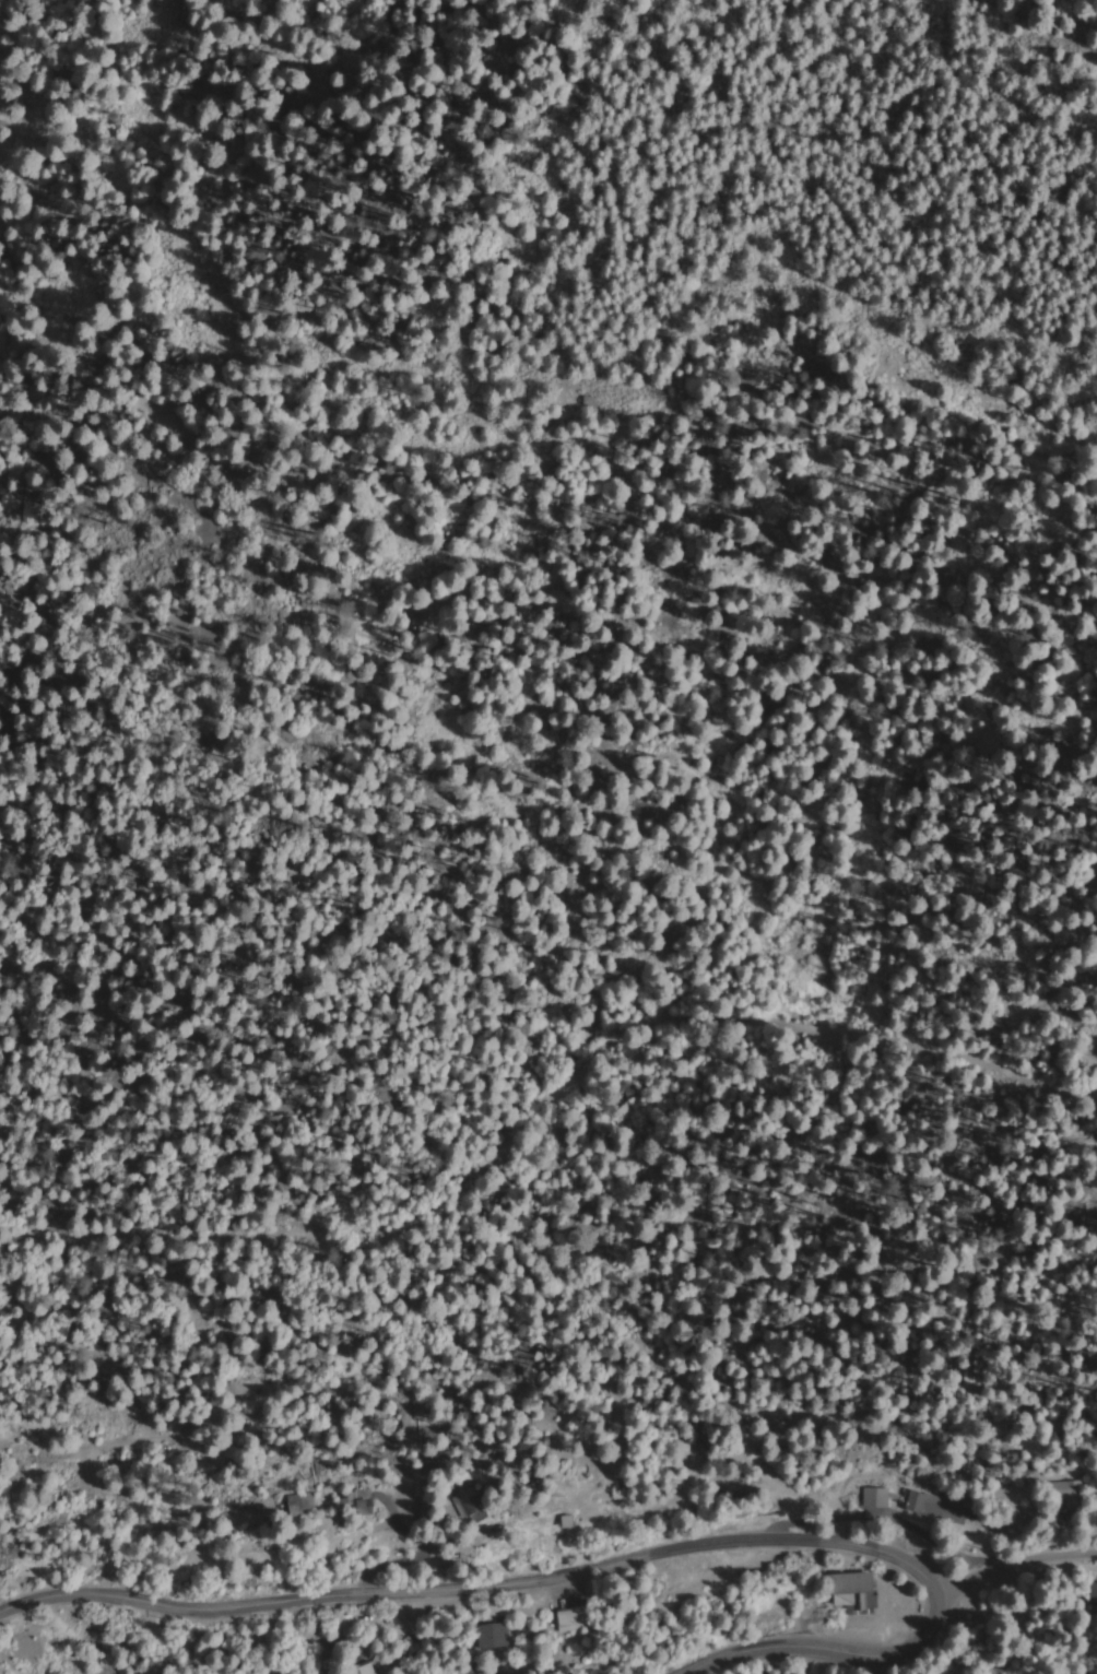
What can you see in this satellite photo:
building: (1069, 1495)
building: (876, 1498)
building: (343, 1502)
building: (300, 1507)
building: (470, 1507)
building: (939, 1508)
building: (367, 1509)
road: (623, 1557)
road: (1014, 1559)
building: (854, 1590)
building: (1093, 1594)
building: (578, 1617)
building: (500, 1636)

